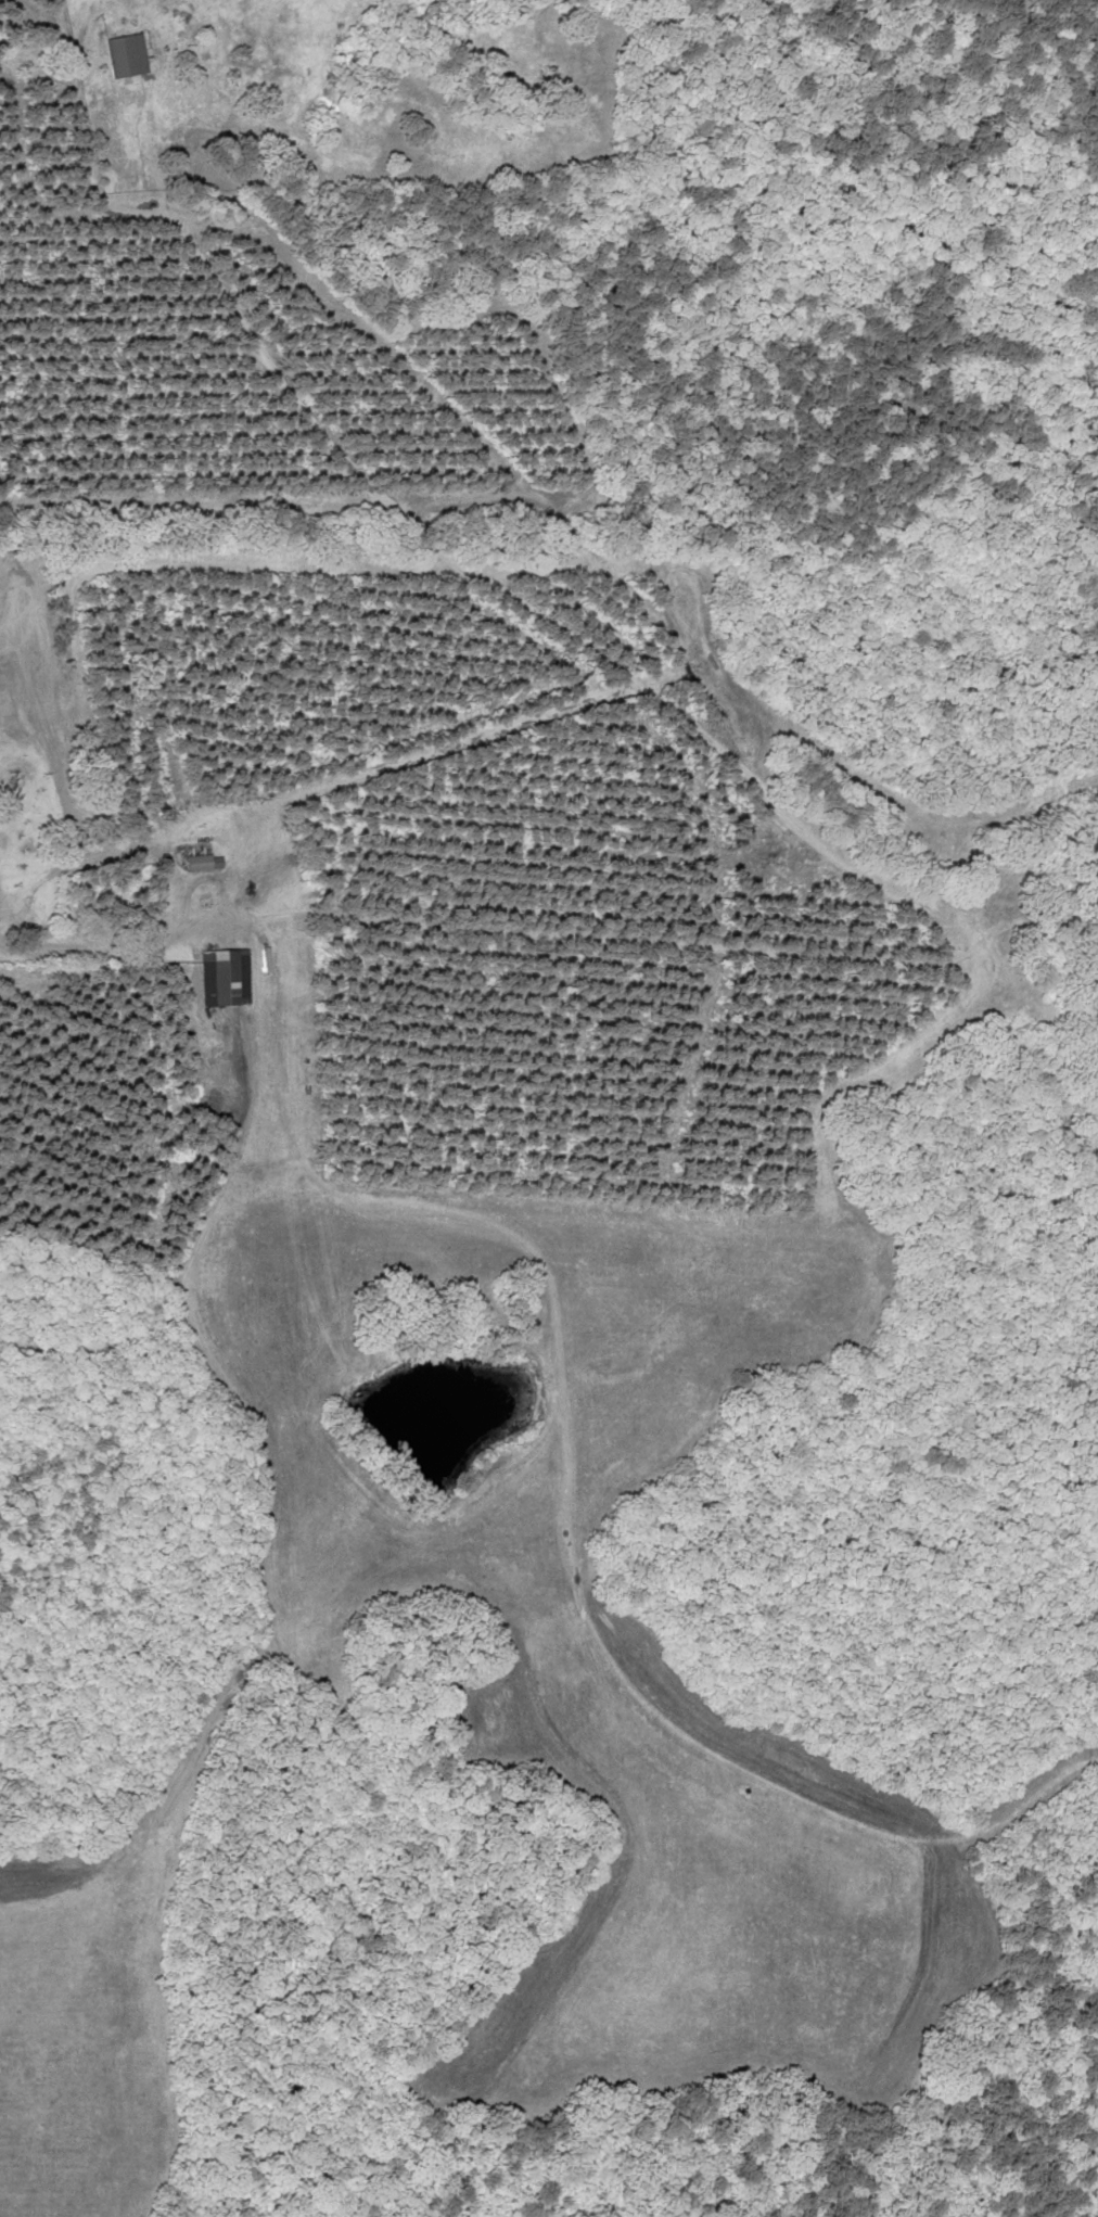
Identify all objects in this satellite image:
building: (128, 54)
road: (493, 581)
building: (204, 861)
road: (1045, 914)
road: (485, 938)
building: (225, 976)

